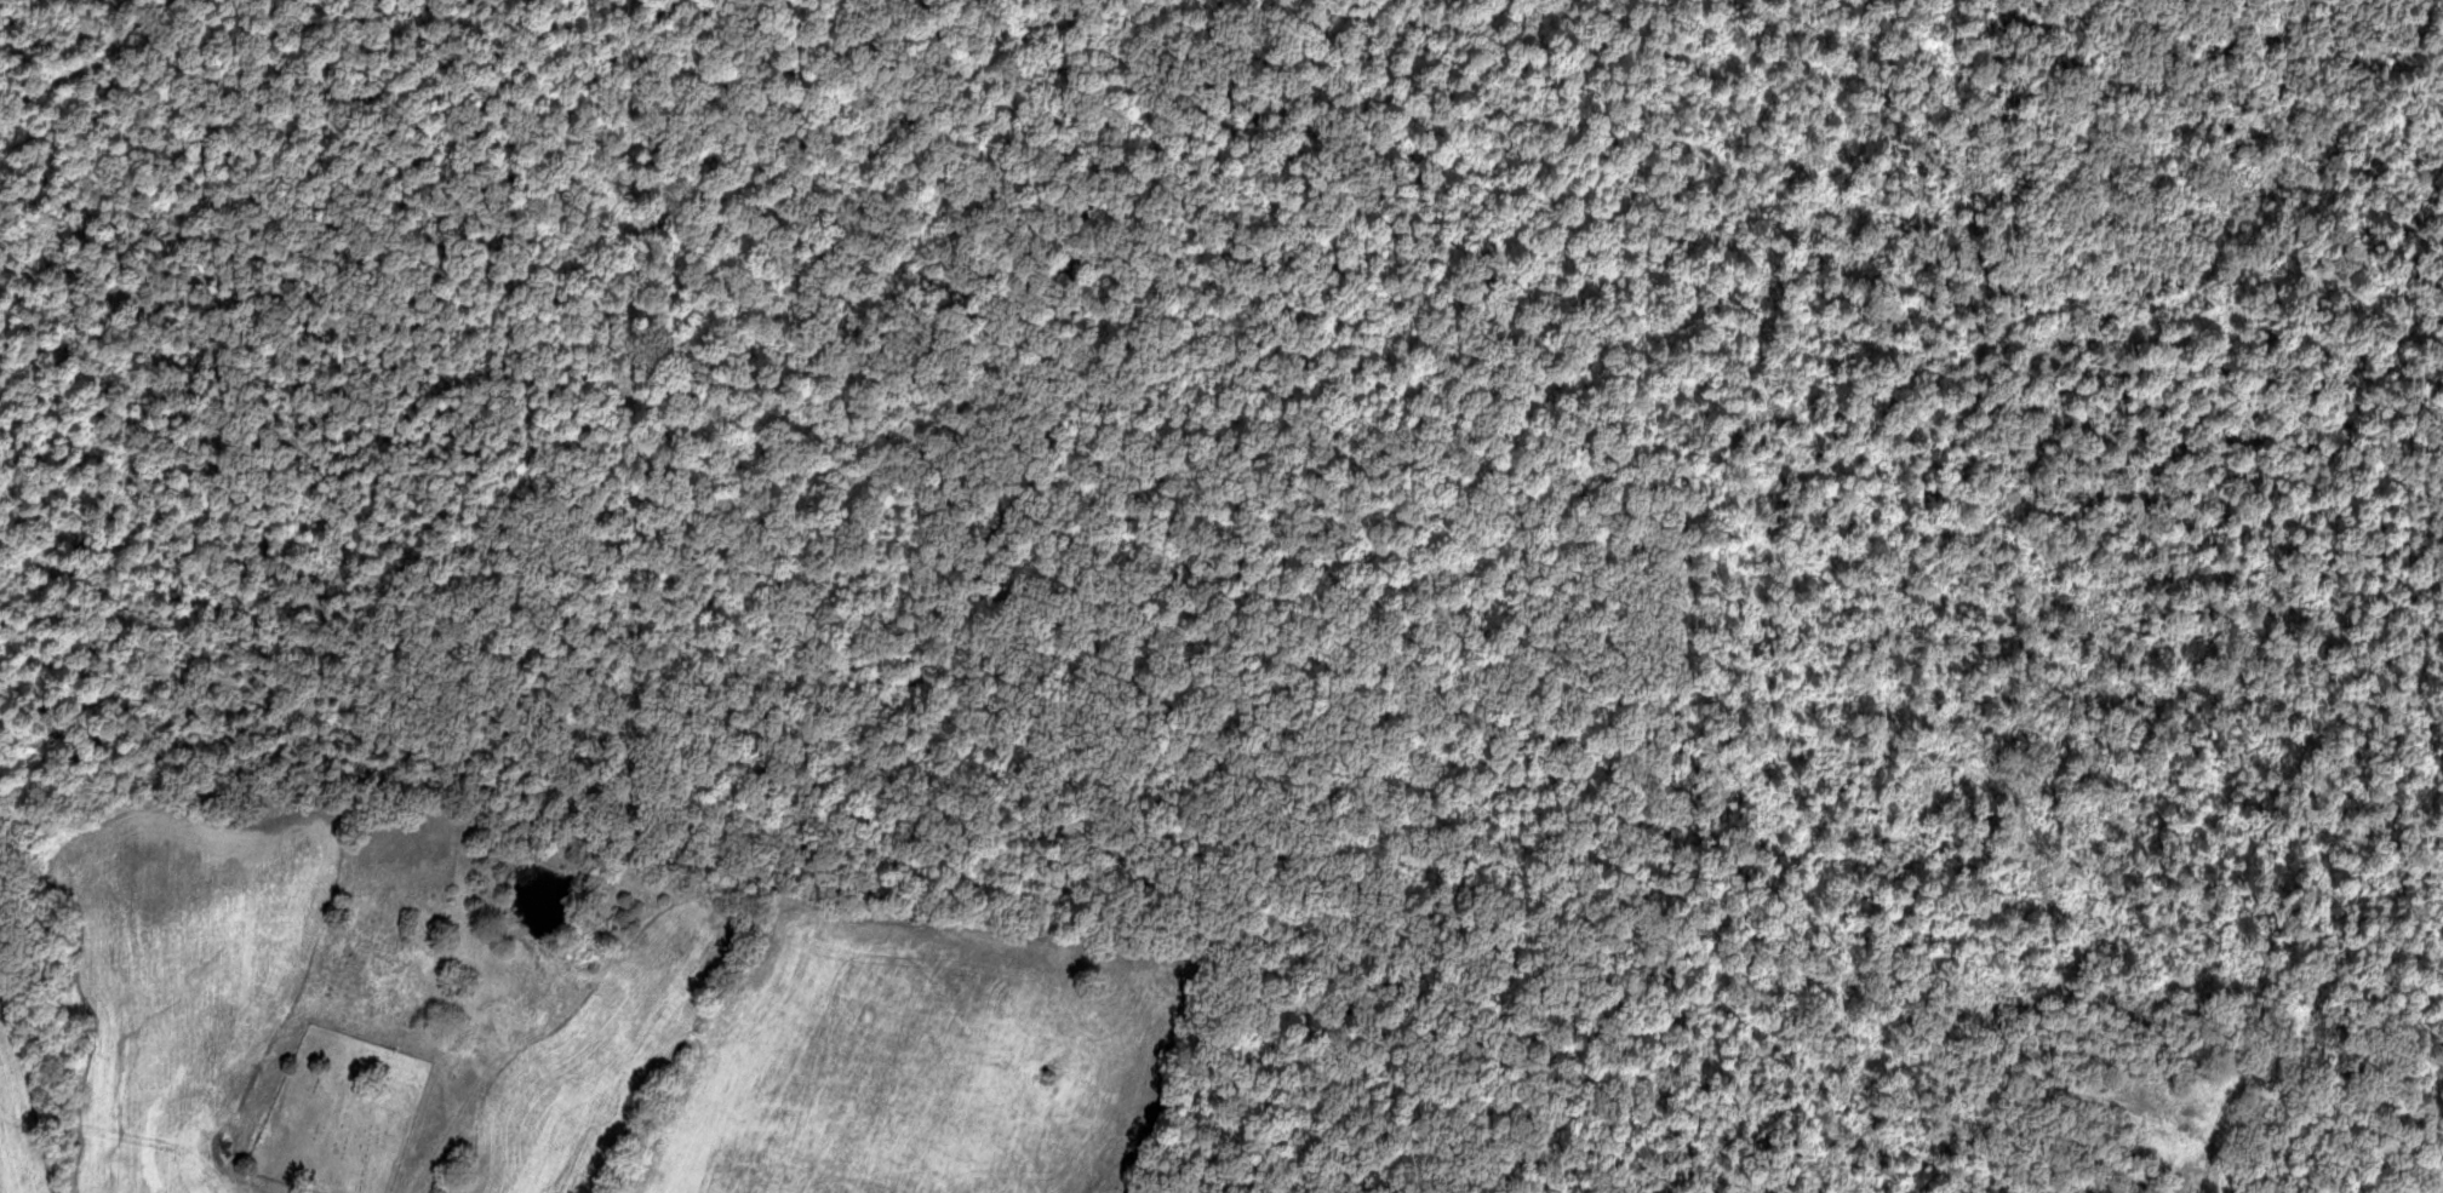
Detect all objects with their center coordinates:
road: (2410, 1168)

